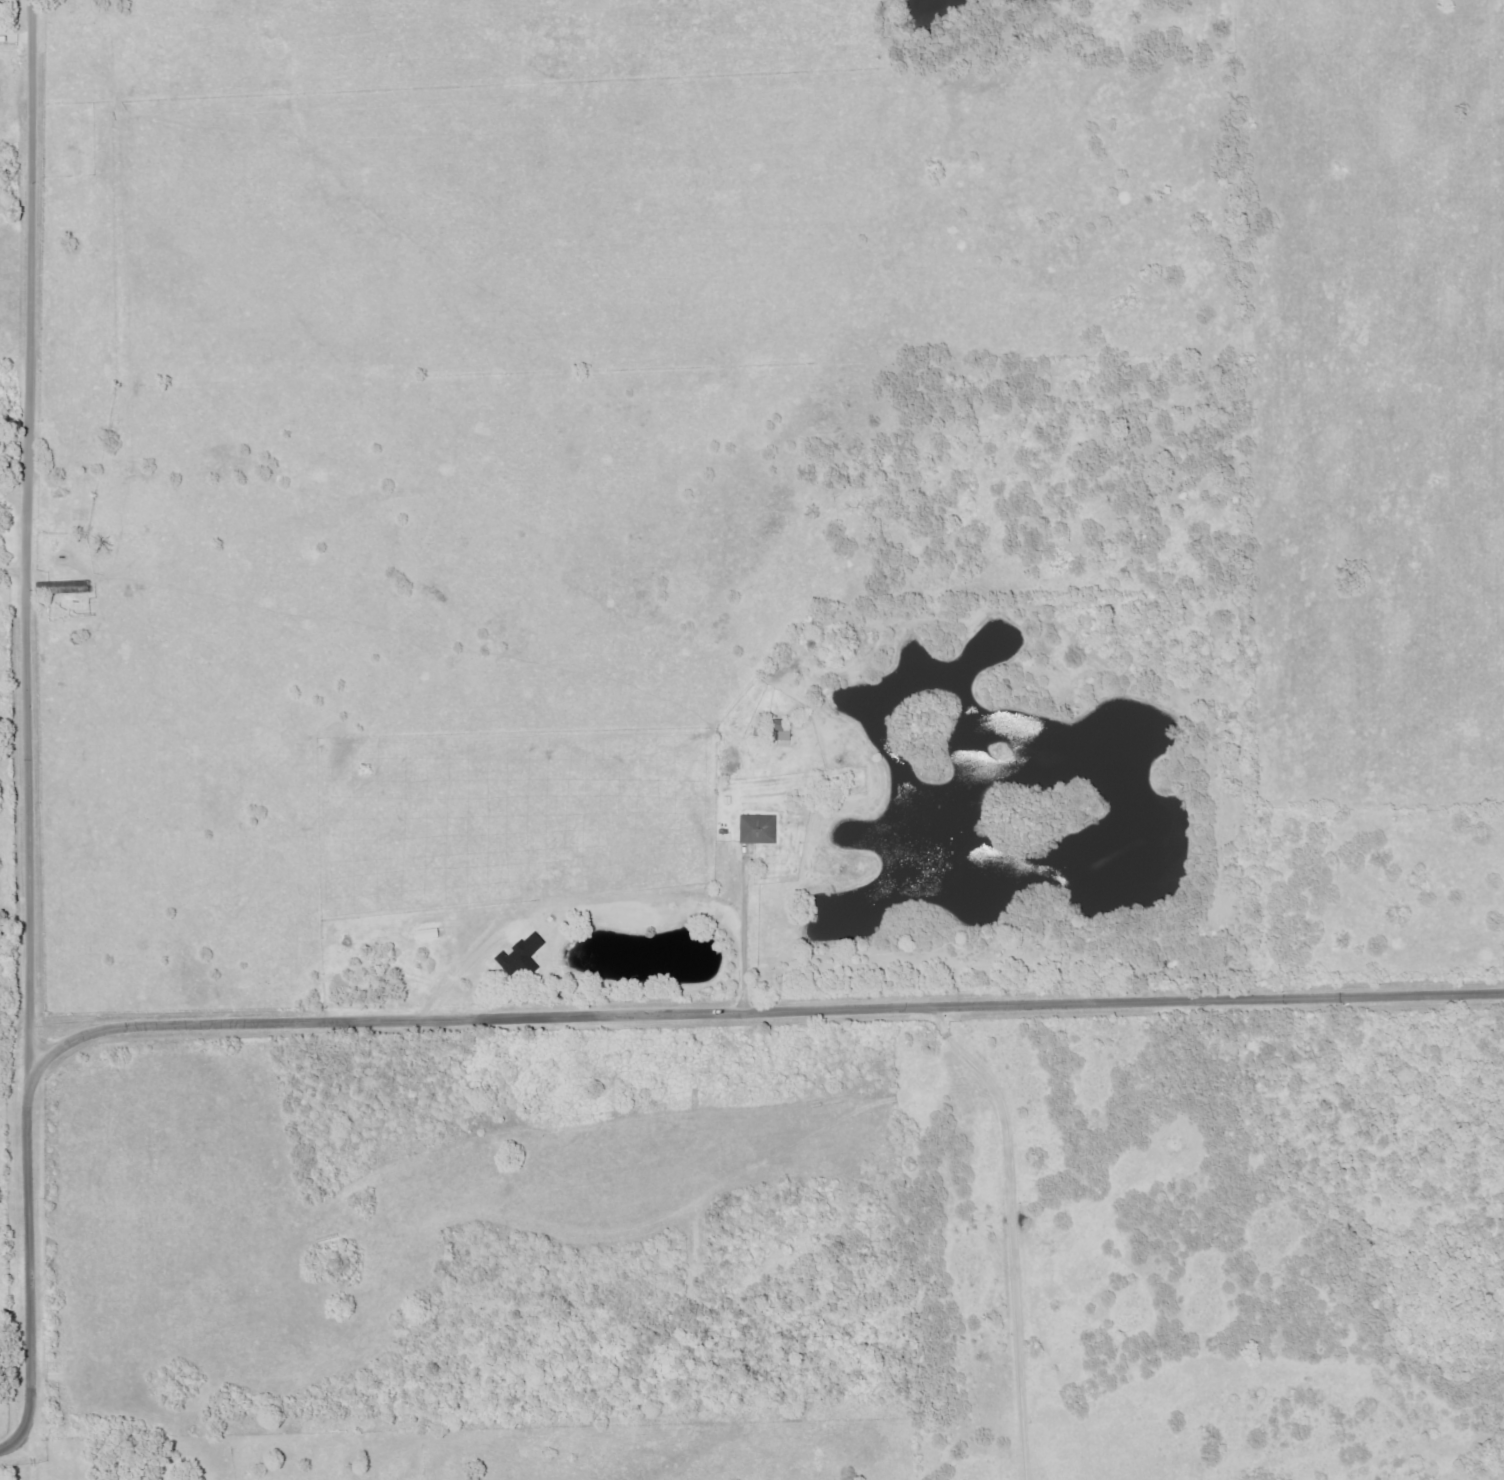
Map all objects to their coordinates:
road: (12, 571)
building: (64, 587)
road: (23, 730)
building: (760, 830)
building: (430, 935)
road: (744, 936)
building: (513, 958)
road: (461, 973)
road: (748, 1010)
road: (1014, 1232)

